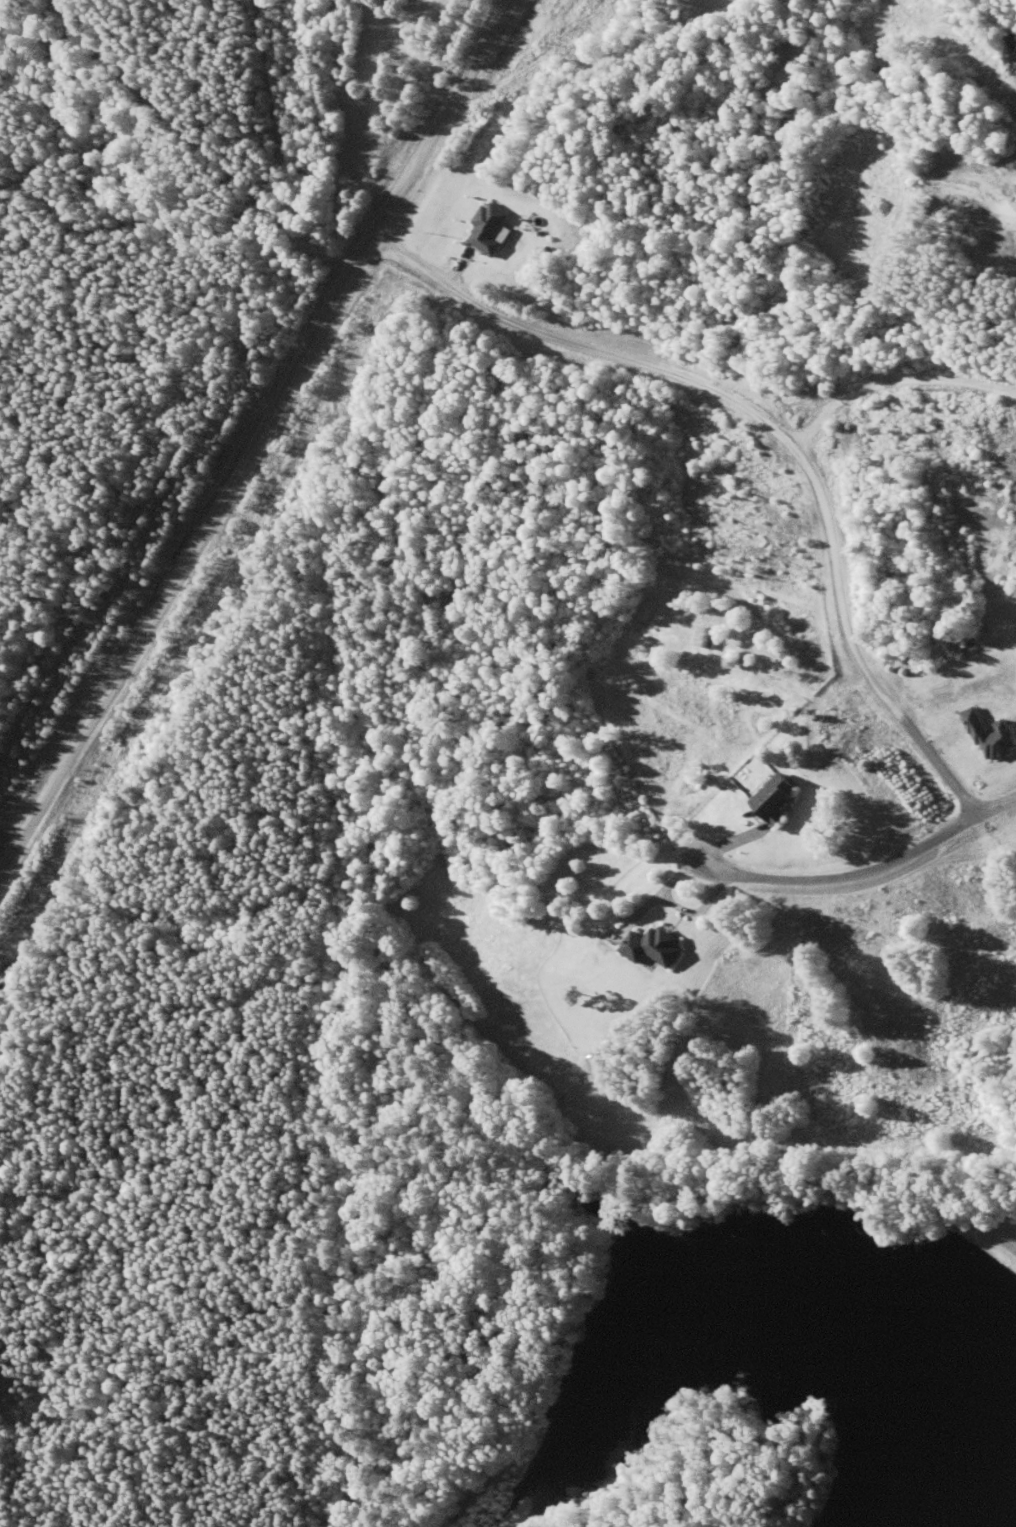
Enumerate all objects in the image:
road: (767, 431)
road: (256, 435)
building: (702, 638)
building: (775, 798)
road: (865, 868)
building: (651, 947)
building: (593, 1062)

